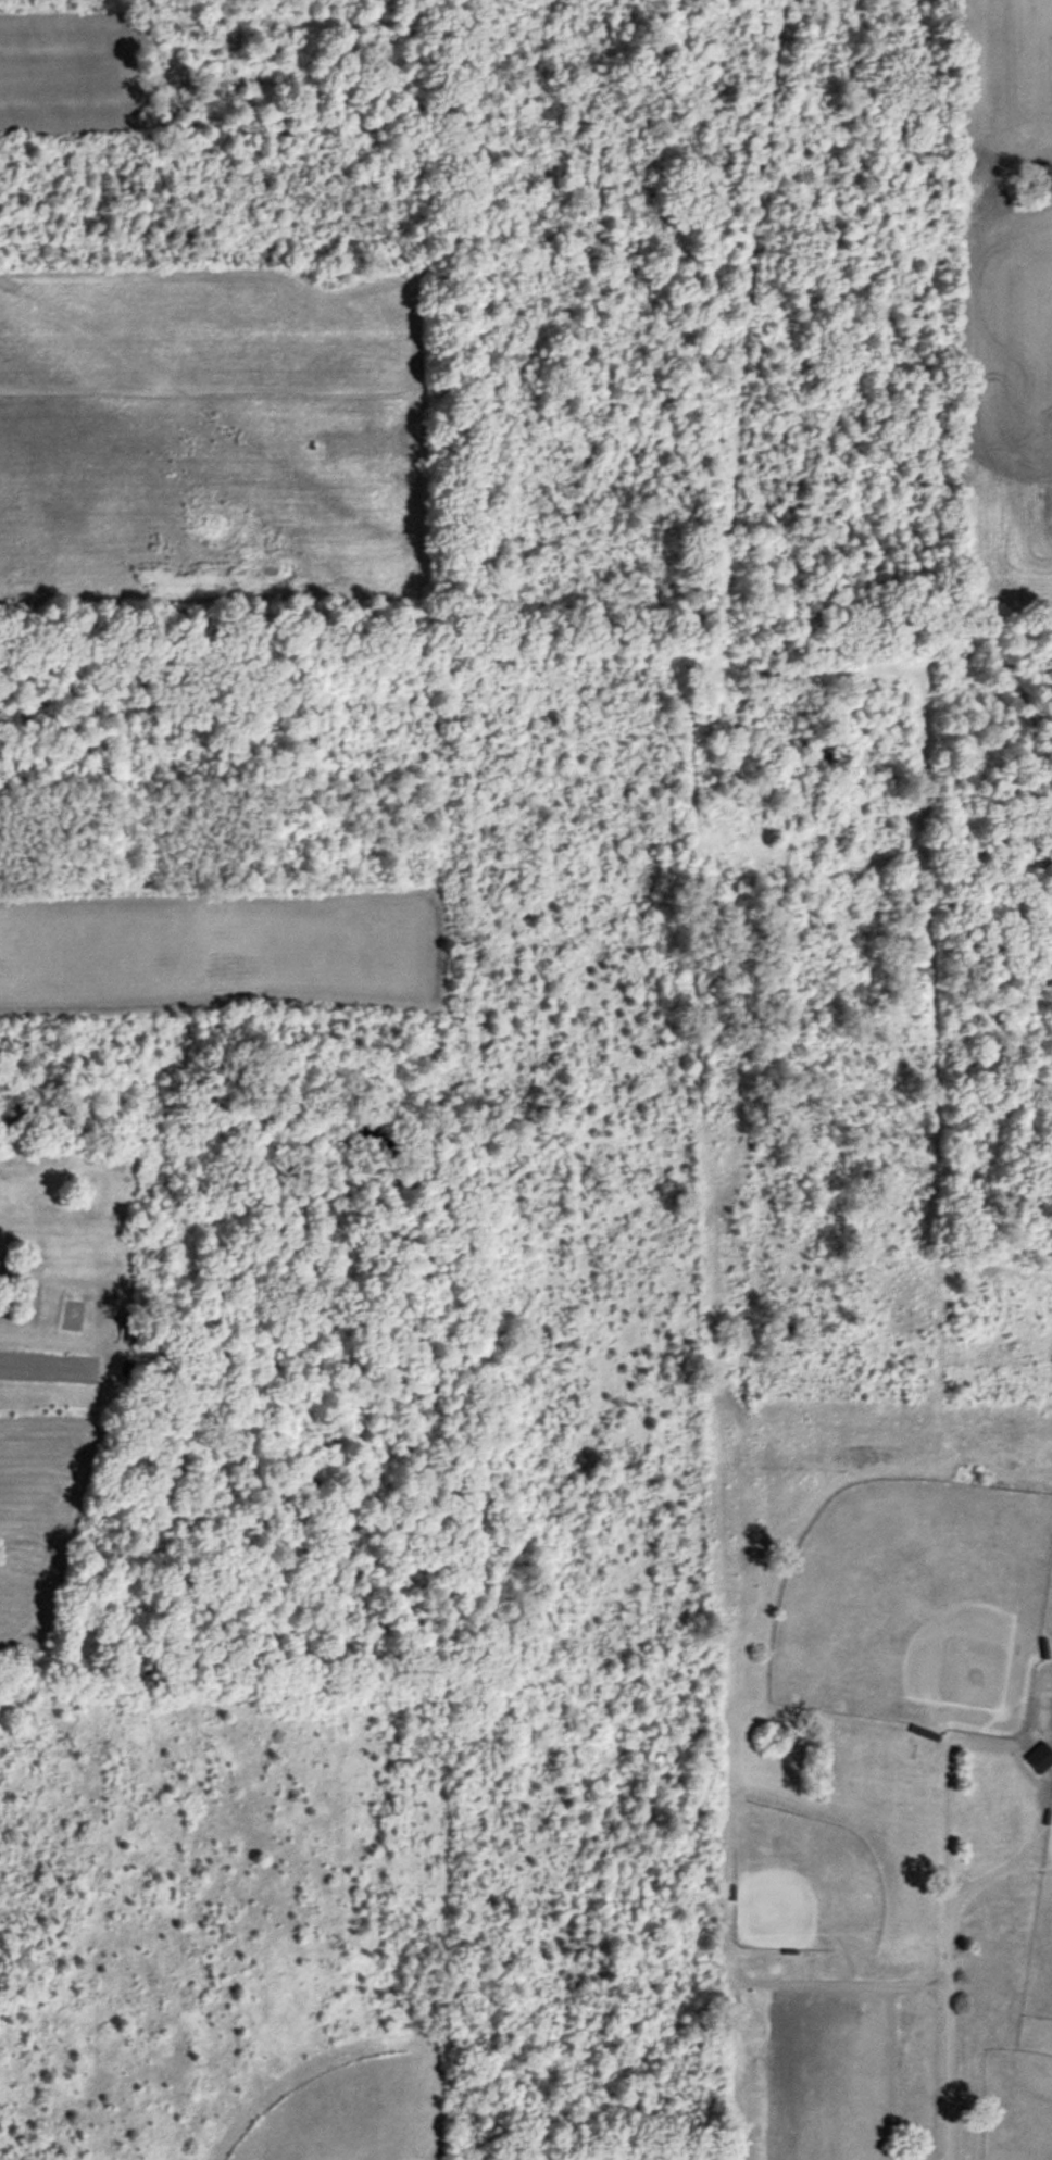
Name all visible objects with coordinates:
building: (1039, 1759)
road: (945, 1949)

